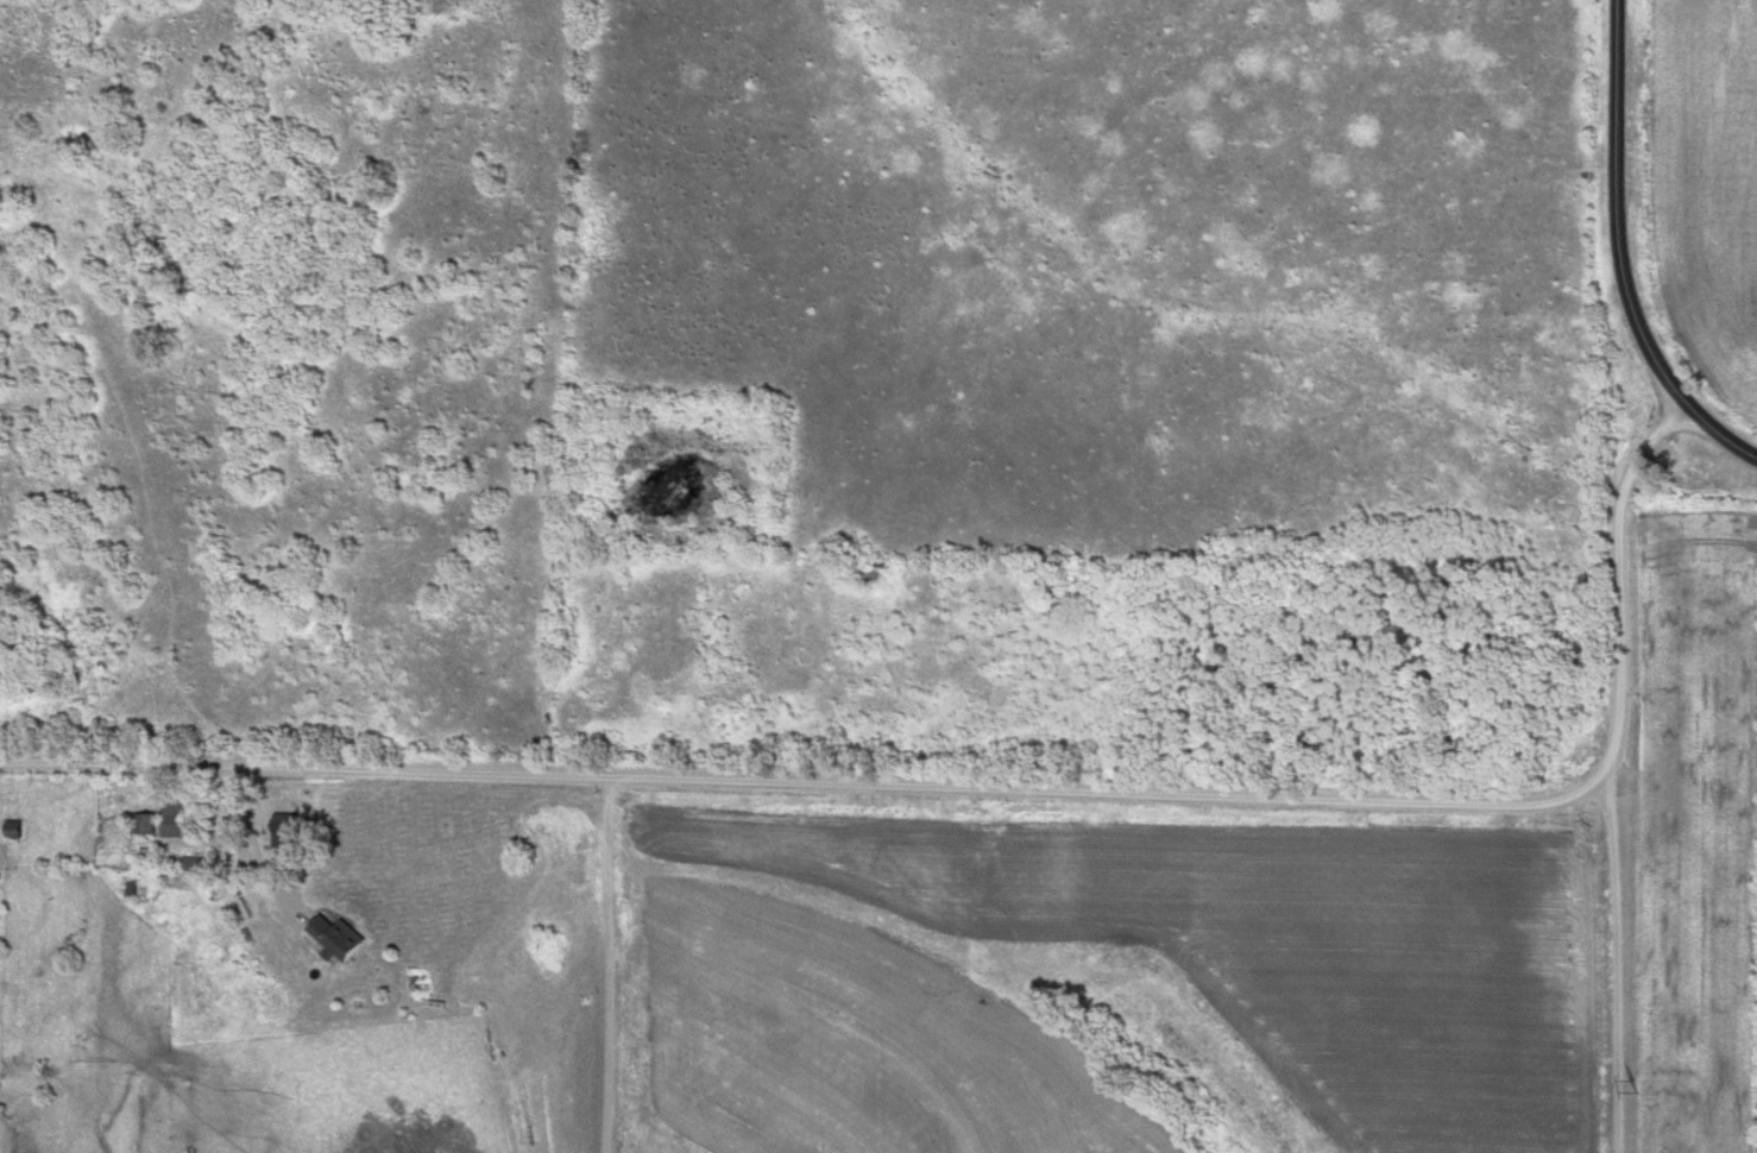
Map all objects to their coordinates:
road: (1620, 257)
road: (1002, 792)
building: (177, 817)
building: (144, 823)
building: (15, 828)
building: (290, 828)
road: (257, 848)
building: (340, 937)
road: (1613, 963)
road: (604, 965)
building: (417, 983)
power tower: (1635, 1085)

